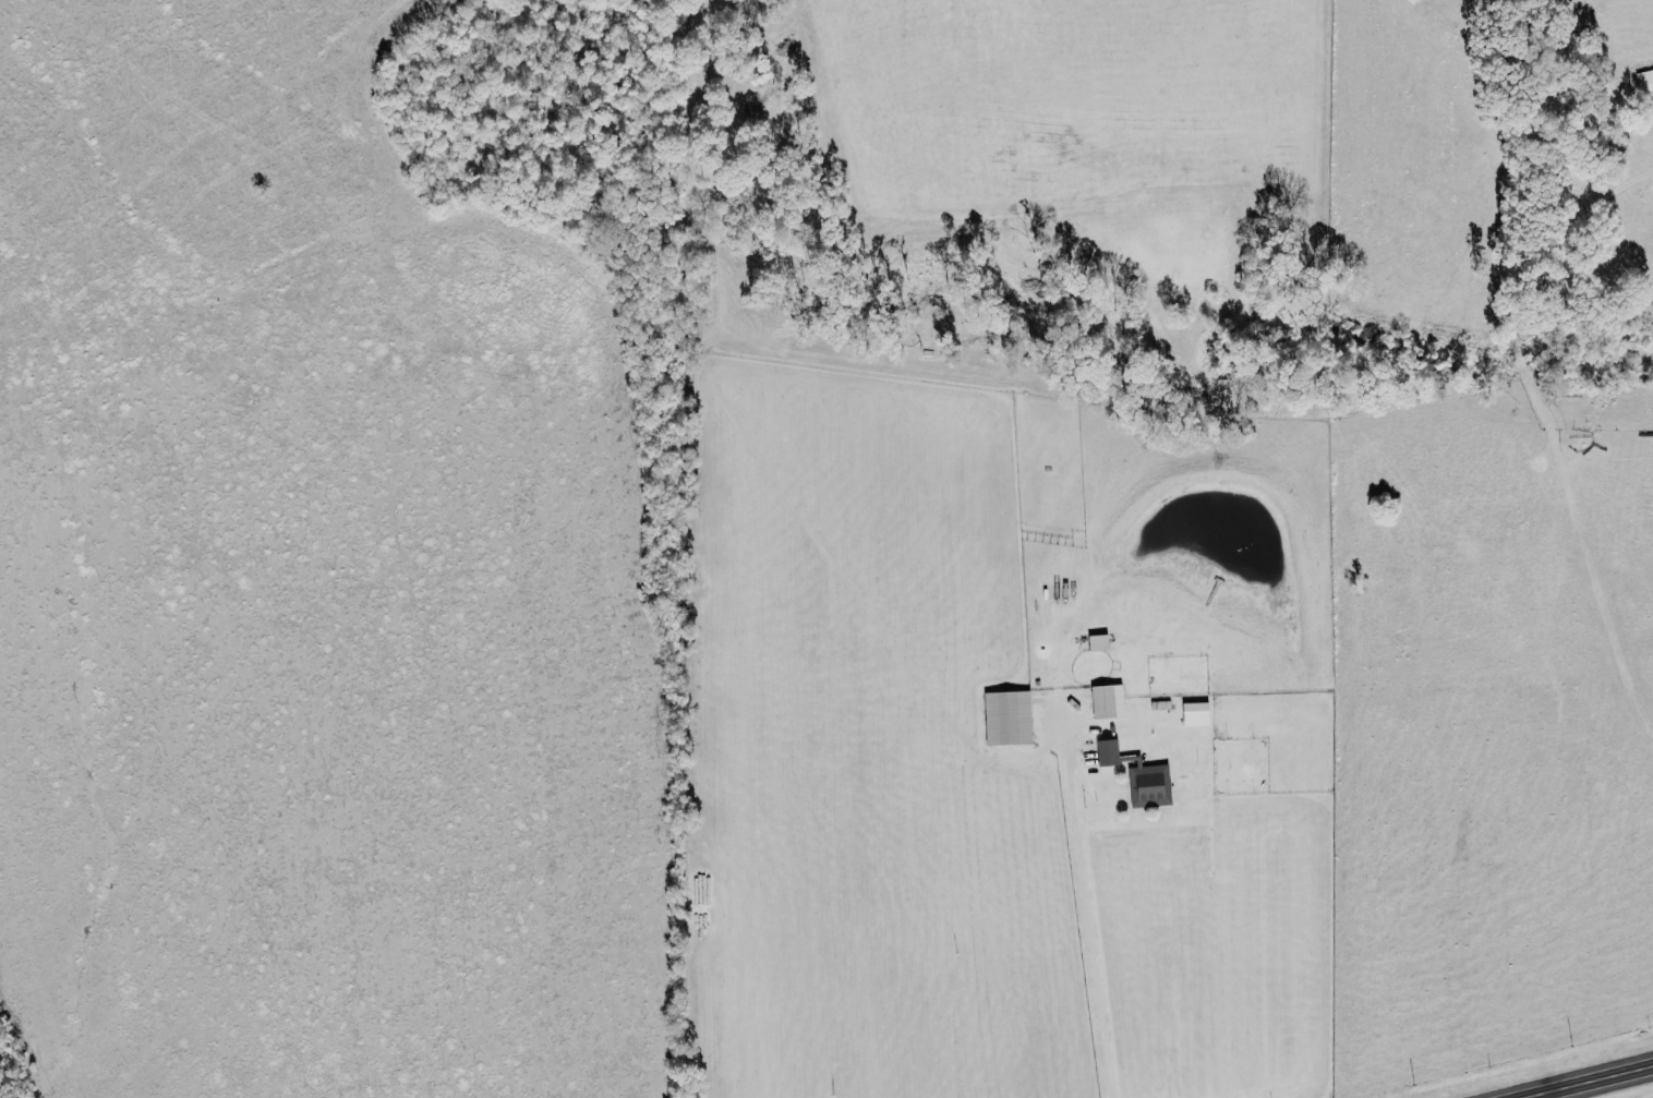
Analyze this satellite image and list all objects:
building: (1644, 80)
building: (1097, 642)
building: (1107, 701)
building: (1006, 716)
building: (1138, 775)
road: (1085, 926)
road: (1592, 1083)

